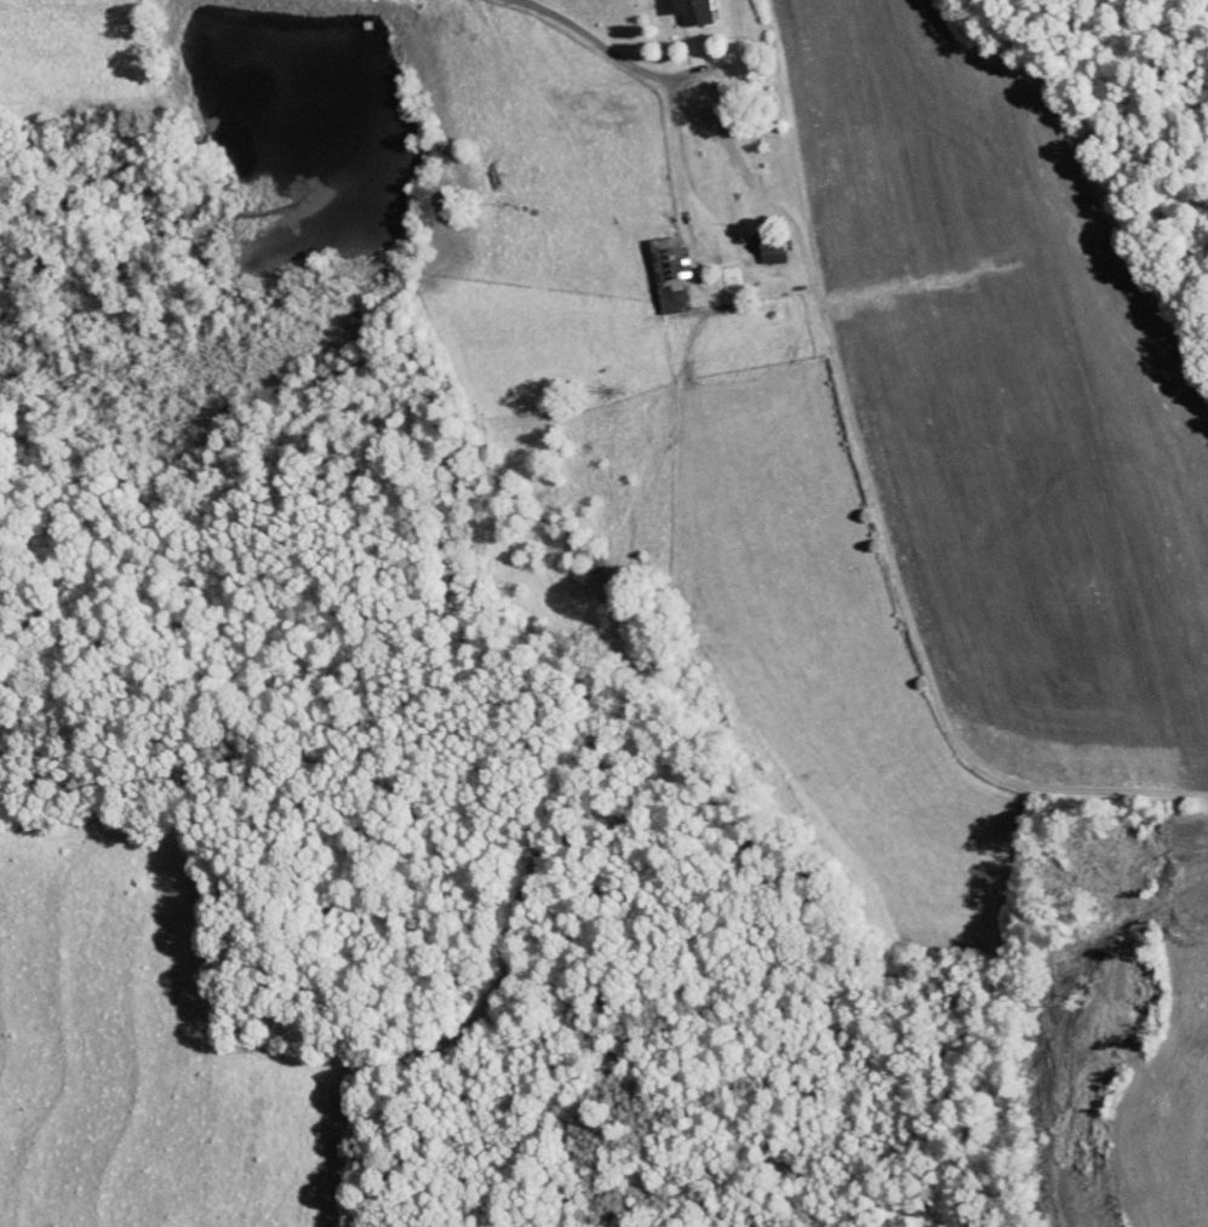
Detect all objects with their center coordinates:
building: (679, 7)
building: (756, 242)
building: (653, 264)

